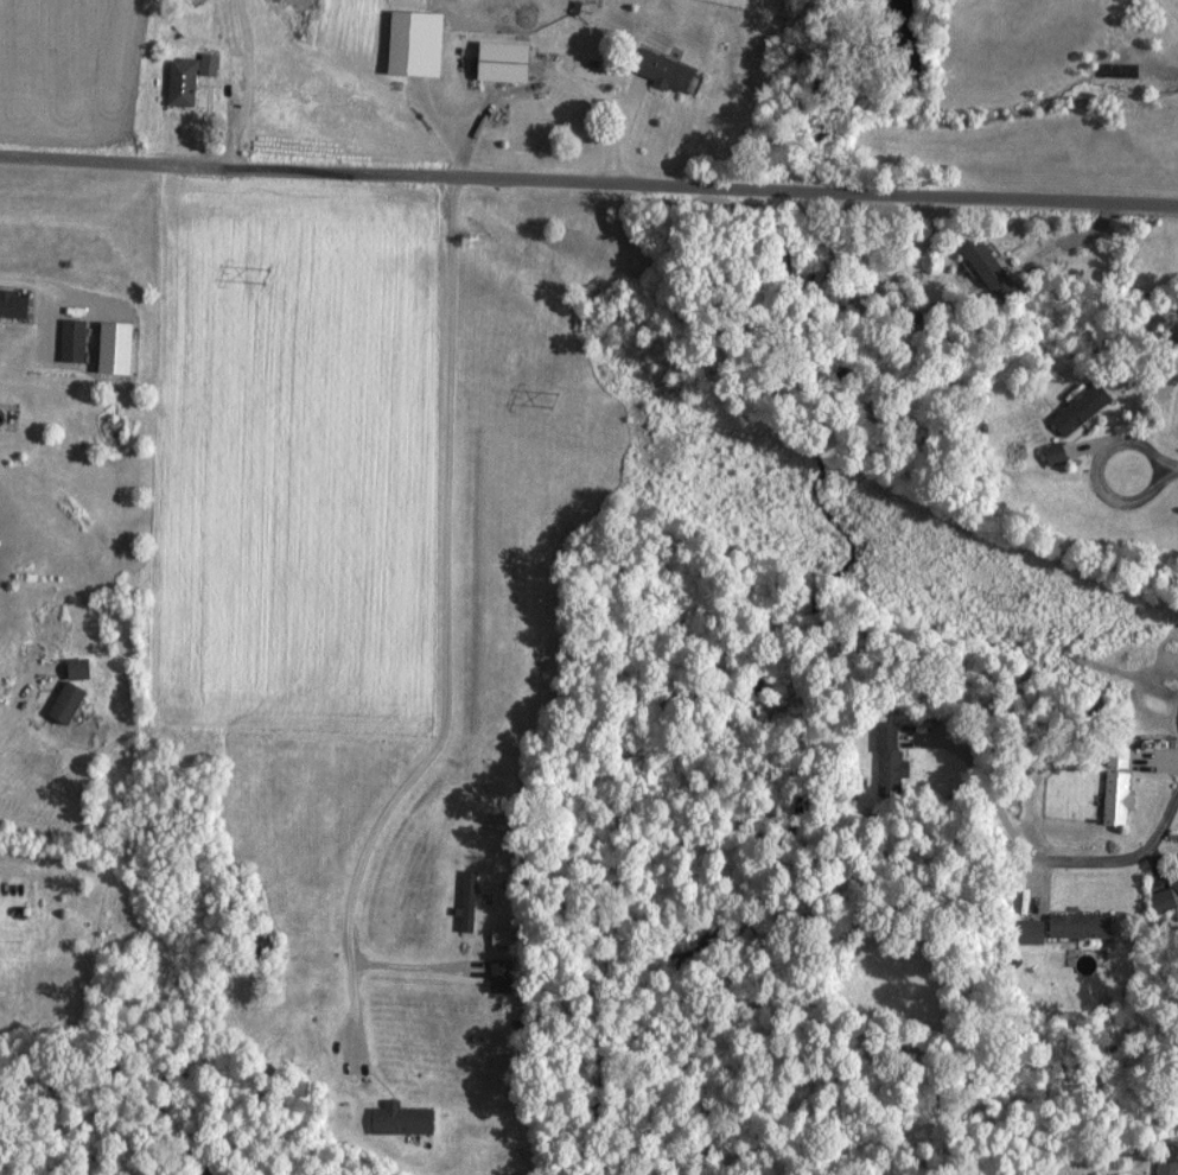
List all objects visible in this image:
building: (409, 43)
building: (496, 61)
building: (205, 63)
building: (658, 69)
building: (178, 82)
road: (253, 85)
road: (588, 180)
building: (983, 266)
power tower: (267, 275)
road: (13, 282)
building: (14, 304)
building: (75, 339)
building: (115, 349)
power tower: (555, 398)
building: (1076, 408)
road: (1122, 445)
building: (1051, 453)
road: (1177, 465)
road: (451, 503)
power tower: (1024, 599)
building: (84, 667)
building: (72, 701)
road: (20, 706)
building: (886, 755)
building: (1114, 756)
building: (1113, 796)
road: (1039, 850)
road: (7, 869)
building: (1174, 884)
building: (465, 900)
building: (1159, 900)
building: (1076, 925)
building: (1027, 931)
building: (499, 935)
building: (499, 974)
building: (397, 1118)
building: (1165, 1166)

